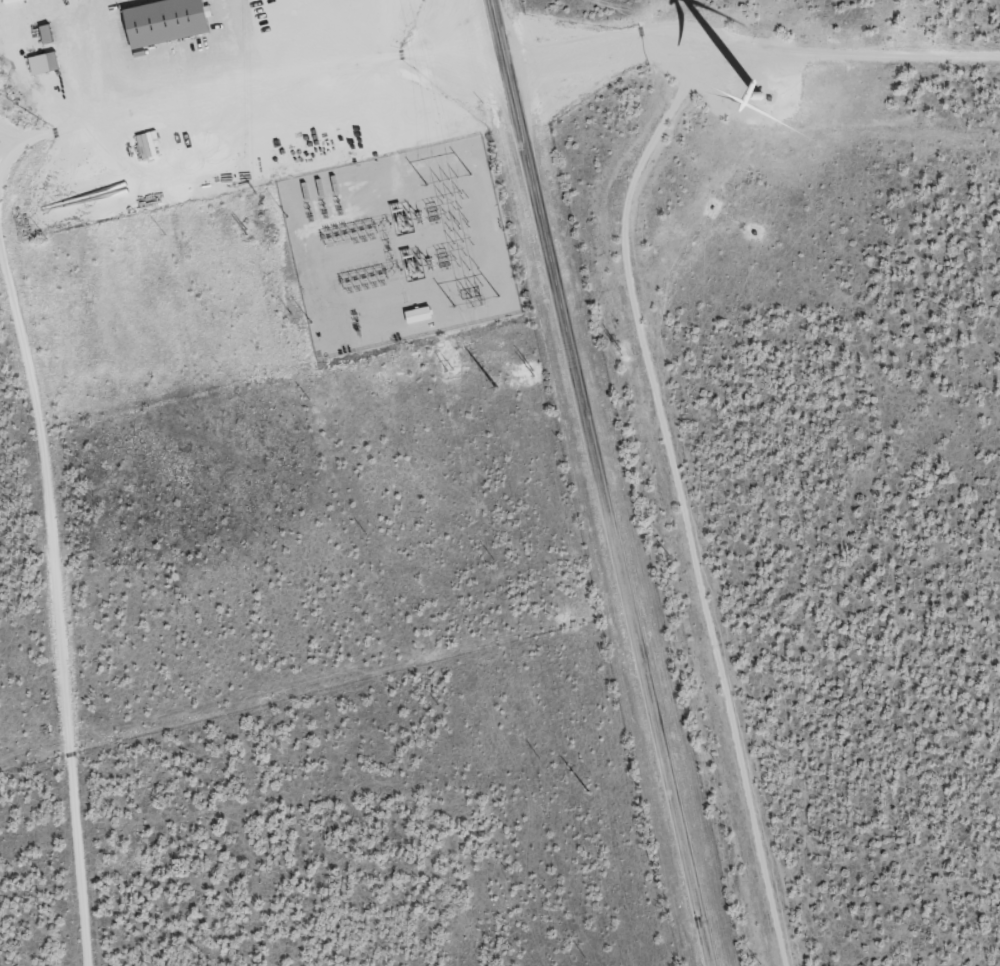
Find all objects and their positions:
building: (167, 22)
building: (44, 64)
wind turbine: (754, 95)
building: (147, 144)
power substation: (394, 248)
building: (419, 315)
power tower: (492, 389)
road: (575, 483)
power tower: (584, 793)

